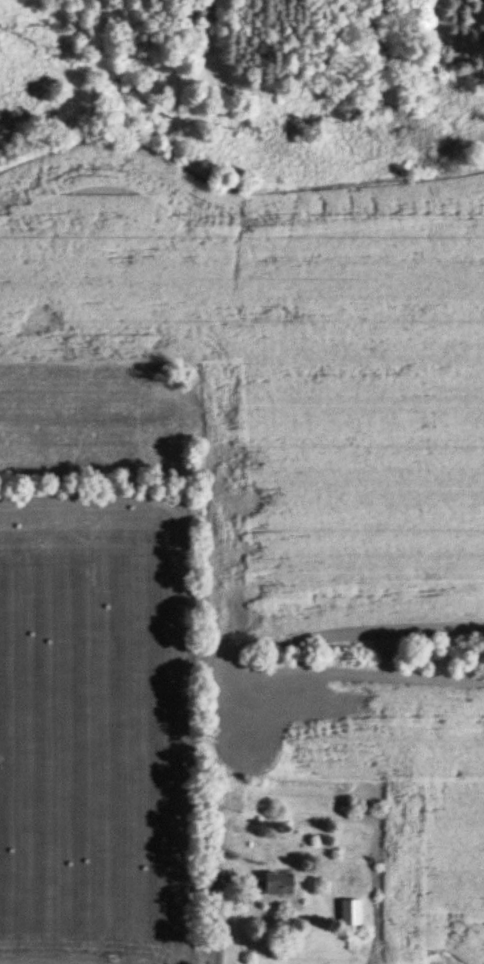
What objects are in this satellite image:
crop: (265, 371)
crop: (89, 731)
crop: (381, 773)
building: (280, 884)
building: (351, 913)
road: (218, 930)

